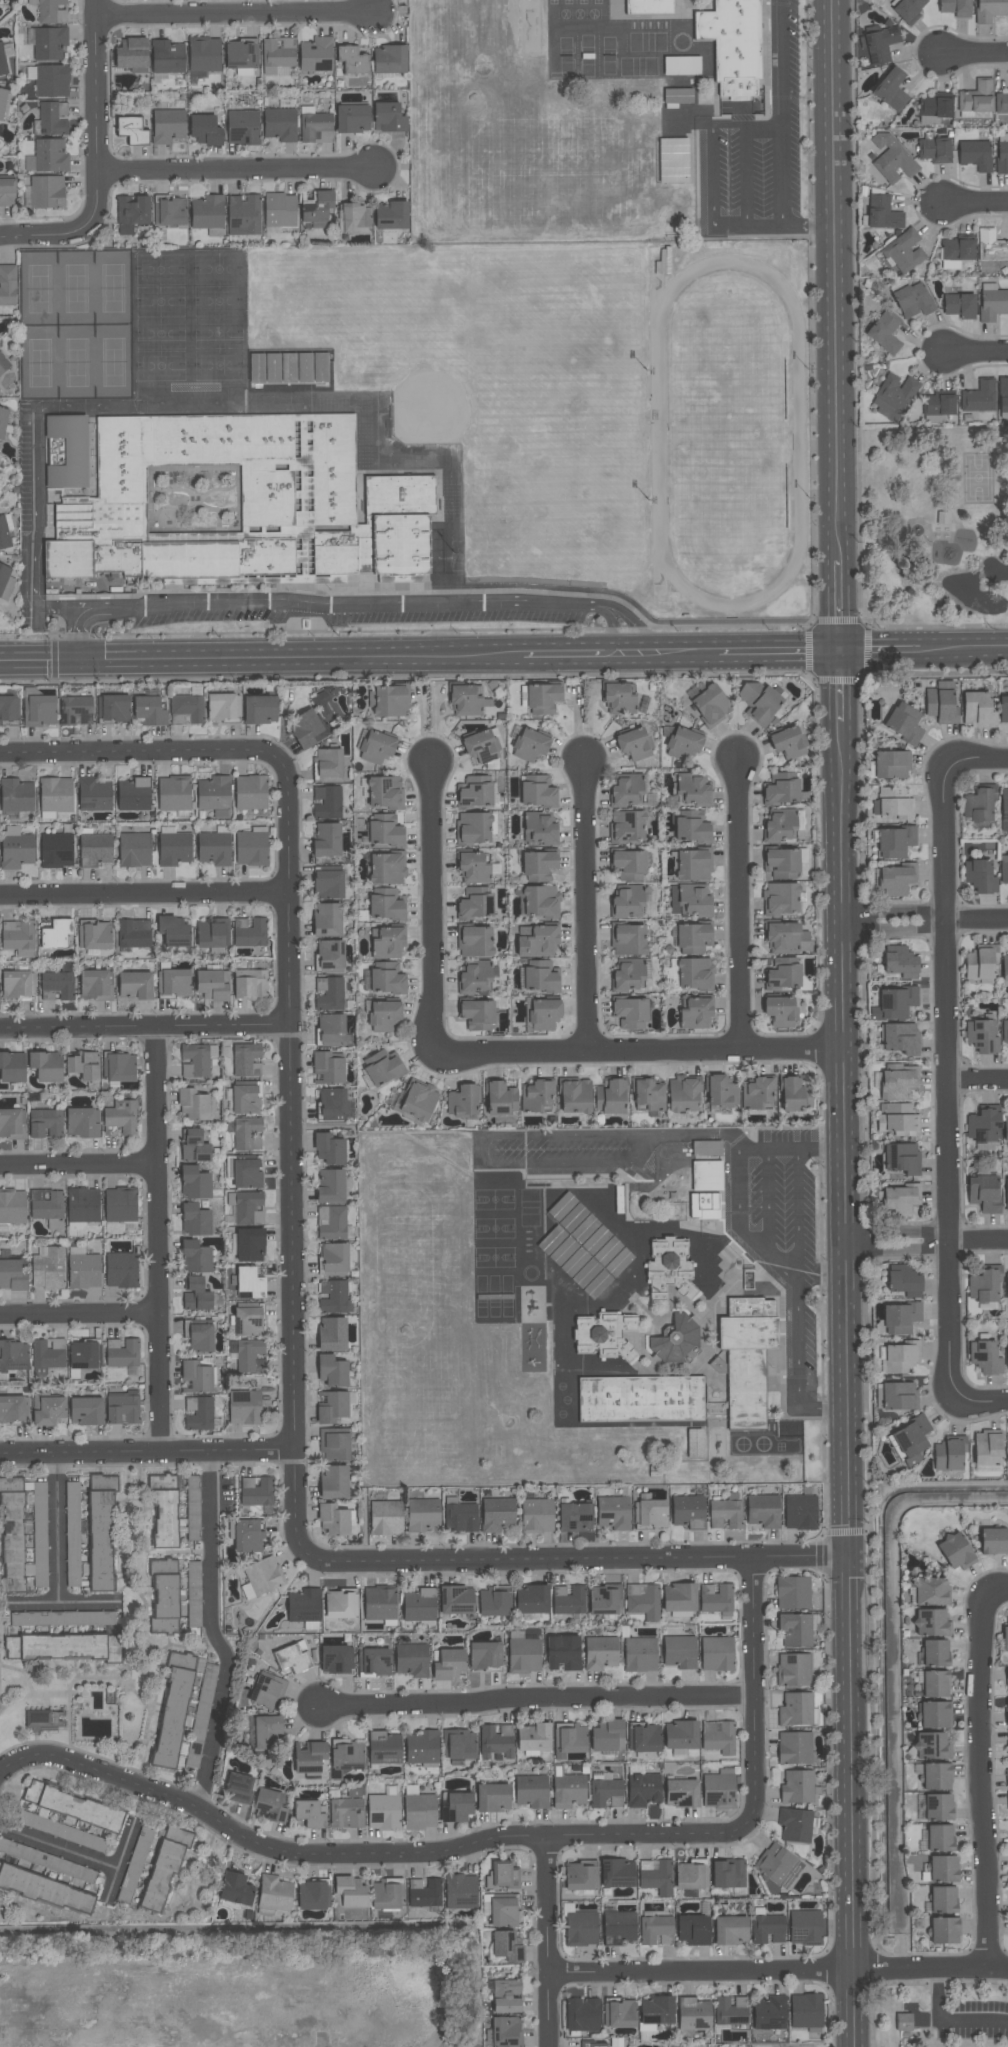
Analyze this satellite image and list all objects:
building: (649, 7)
building: (908, 8)
building: (955, 8)
building: (990, 10)
building: (50, 11)
road: (231, 14)
building: (49, 43)
building: (733, 44)
building: (880, 45)
building: (204, 54)
building: (316, 54)
building: (131, 55)
building: (277, 55)
road: (970, 55)
building: (167, 57)
building: (242, 57)
building: (389, 59)
building: (352, 60)
building: (2, 62)
building: (49, 80)
road: (98, 84)
building: (891, 90)
building: (678, 95)
building: (977, 97)
building: (1001, 103)
building: (934, 108)
building: (389, 117)
building: (352, 118)
building: (51, 119)
building: (280, 124)
road: (748, 124)
building: (168, 126)
building: (315, 126)
building: (243, 127)
building: (132, 130)
building: (204, 130)
road: (780, 138)
building: (934, 150)
building: (1002, 153)
building: (975, 154)
building: (48, 157)
building: (890, 158)
building: (673, 160)
road: (237, 168)
road: (747, 173)
building: (7, 191)
building: (47, 192)
road: (974, 202)
building: (316, 205)
road: (712, 205)
building: (132, 210)
building: (280, 210)
building: (169, 211)
building: (207, 212)
building: (882, 213)
building: (243, 215)
building: (391, 215)
building: (354, 219)
road: (76, 235)
building: (991, 246)
building: (902, 252)
building: (956, 252)
road: (834, 283)
building: (8, 285)
building: (914, 300)
building: (992, 302)
building: (960, 305)
building: (885, 332)
road: (976, 353)
building: (894, 396)
building: (979, 397)
building: (1003, 398)
building: (939, 403)
road: (381, 414)
building: (3, 420)
building: (66, 451)
park: (978, 478)
road: (35, 481)
building: (399, 493)
building: (230, 505)
building: (943, 522)
road: (883, 526)
park: (934, 530)
building: (5, 532)
building: (5, 580)
road: (355, 604)
road: (836, 609)
road: (964, 651)
road: (879, 652)
road: (771, 654)
road: (627, 655)
road: (676, 655)
road: (565, 656)
road: (261, 659)
road: (837, 687)
building: (543, 696)
building: (618, 697)
building: (464, 699)
building: (388, 701)
building: (759, 701)
building: (941, 702)
building: (711, 705)
building: (113, 706)
building: (223, 706)
building: (1003, 706)
building: (76, 708)
building: (260, 708)
building: (978, 708)
building: (9, 709)
building: (39, 709)
building: (186, 709)
building: (149, 710)
building: (904, 723)
building: (308, 728)
building: (634, 742)
building: (683, 742)
building: (787, 742)
building: (530, 744)
building: (376, 746)
building: (480, 746)
road: (132, 753)
road: (975, 762)
building: (329, 763)
building: (892, 764)
building: (781, 788)
building: (626, 789)
building: (692, 789)
building: (383, 791)
building: (474, 791)
building: (537, 791)
building: (214, 792)
building: (250, 792)
building: (55, 793)
building: (134, 793)
building: (173, 793)
building: (94, 794)
building: (15, 795)
building: (327, 802)
building: (894, 802)
building: (1004, 803)
building: (978, 804)
building: (780, 825)
building: (626, 826)
building: (473, 827)
building: (539, 828)
building: (692, 829)
building: (386, 833)
building: (327, 839)
building: (895, 841)
building: (251, 846)
building: (16, 848)
building: (174, 848)
building: (214, 848)
building: (134, 849)
building: (56, 850)
building: (95, 850)
building: (782, 862)
building: (628, 864)
building: (693, 864)
building: (387, 867)
building: (472, 867)
building: (1003, 868)
building: (979, 875)
building: (894, 880)
building: (328, 884)
building: (539, 884)
road: (145, 895)
building: (781, 898)
building: (690, 900)
building: (627, 901)
building: (475, 903)
road: (737, 905)
building: (386, 907)
road: (583, 907)
road: (430, 911)
building: (327, 919)
road: (923, 923)
building: (173, 929)
building: (250, 931)
building: (210, 932)
building: (56, 933)
building: (134, 933)
building: (94, 934)
building: (694, 936)
building: (18, 937)
building: (785, 937)
building: (628, 938)
building: (474, 940)
building: (538, 940)
building: (387, 942)
building: (329, 956)
building: (900, 961)
building: (979, 963)
building: (1005, 967)
building: (695, 973)
building: (783, 974)
building: (628, 976)
building: (476, 977)
building: (540, 979)
building: (173, 981)
building: (384, 981)
building: (16, 983)
building: (95, 983)
building: (135, 983)
building: (250, 983)
building: (212, 984)
building: (57, 986)
building: (329, 993)
building: (895, 1002)
building: (780, 1010)
building: (695, 1011)
building: (544, 1012)
building: (630, 1012)
building: (477, 1013)
building: (384, 1015)
road: (144, 1027)
building: (331, 1028)
building: (1005, 1029)
building: (982, 1035)
building: (899, 1037)
road: (639, 1050)
building: (195, 1060)
building: (246, 1060)
building: (83, 1064)
building: (12, 1065)
building: (46, 1065)
building: (118, 1066)
building: (381, 1067)
building: (327, 1068)
road: (946, 1081)
building: (898, 1083)
road: (977, 1084)
building: (721, 1091)
building: (648, 1093)
building: (683, 1093)
building: (757, 1093)
building: (791, 1094)
building: (536, 1095)
building: (574, 1095)
building: (610, 1095)
building: (500, 1097)
building: (246, 1099)
building: (463, 1100)
building: (418, 1101)
building: (333, 1103)
building: (194, 1104)
building: (122, 1116)
building: (898, 1120)
building: (12, 1122)
building: (81, 1122)
building: (45, 1123)
building: (983, 1125)
building: (1006, 1128)
building: (247, 1134)
road: (695, 1135)
building: (194, 1146)
building: (707, 1147)
building: (329, 1148)
road: (789, 1148)
road: (290, 1151)
building: (901, 1157)
road: (482, 1159)
road: (77, 1167)
building: (247, 1172)
building: (707, 1175)
building: (194, 1182)
building: (330, 1185)
building: (984, 1192)
building: (1006, 1194)
building: (900, 1199)
road: (767, 1202)
building: (120, 1204)
building: (47, 1207)
building: (82, 1207)
building: (12, 1208)
road: (798, 1218)
building: (195, 1219)
building: (332, 1222)
building: (590, 1234)
road: (155, 1240)
building: (250, 1244)
road: (925, 1246)
building: (196, 1257)
building: (333, 1259)
building: (574, 1262)
building: (669, 1268)
building: (83, 1269)
building: (121, 1270)
building: (12, 1275)
building: (251, 1280)
building: (904, 1281)
building: (1006, 1284)
building: (984, 1286)
road: (797, 1288)
building: (196, 1294)
building: (333, 1297)
road: (78, 1313)
building: (900, 1317)
building: (248, 1321)
building: (332, 1333)
building: (604, 1335)
building: (199, 1337)
building: (675, 1338)
building: (122, 1353)
building: (48, 1354)
building: (83, 1354)
building: (1007, 1354)
building: (248, 1355)
building: (13, 1356)
building: (985, 1357)
building: (747, 1358)
building: (899, 1358)
building: (332, 1370)
building: (196, 1377)
road: (843, 1384)
building: (899, 1395)
road: (979, 1398)
building: (640, 1399)
building: (130, 1406)
building: (244, 1406)
building: (332, 1406)
building: (12, 1408)
building: (113, 1408)
building: (48, 1410)
building: (86, 1410)
building: (199, 1413)
building: (911, 1440)
building: (695, 1443)
building: (334, 1446)
building: (987, 1448)
building: (1007, 1450)
road: (147, 1453)
building: (948, 1454)
building: (334, 1482)
building: (256, 1492)
building: (193, 1508)
building: (164, 1509)
building: (763, 1510)
building: (688, 1511)
building: (613, 1512)
building: (726, 1512)
building: (800, 1512)
building: (650, 1513)
building: (497, 1514)
building: (72, 1515)
building: (422, 1515)
building: (536, 1516)
building: (386, 1517)
building: (574, 1517)
building: (460, 1518)
building: (333, 1520)
building: (101, 1531)
building: (11, 1535)
building: (247, 1536)
building: (39, 1537)
building: (994, 1541)
road: (56, 1550)
building: (955, 1552)
road: (576, 1561)
building: (72, 1575)
building: (264, 1575)
road: (996, 1590)
building: (792, 1592)
building: (931, 1592)
building: (194, 1594)
building: (164, 1596)
building: (679, 1597)
building: (456, 1599)
building: (532, 1599)
building: (716, 1599)
building: (568, 1600)
building: (605, 1600)
building: (494, 1601)
building: (643, 1601)
road: (84, 1602)
building: (379, 1602)
building: (341, 1604)
building: (304, 1605)
building: (419, 1605)
building: (62, 1618)
building: (931, 1623)
building: (797, 1629)
road: (213, 1632)
building: (1005, 1640)
building: (62, 1647)
building: (679, 1651)
building: (563, 1652)
building: (716, 1653)
building: (933, 1653)
building: (640, 1654)
building: (483, 1655)
building: (524, 1655)
building: (598, 1655)
building: (292, 1659)
building: (335, 1659)
building: (412, 1660)
building: (374, 1661)
building: (448, 1663)
building: (794, 1669)
building: (1007, 1679)
building: (935, 1684)
road: (752, 1685)
building: (267, 1694)
road: (538, 1695)
building: (796, 1710)
building: (935, 1715)
building: (44, 1718)
building: (172, 1718)
building: (200, 1718)
building: (264, 1734)
building: (681, 1735)
building: (606, 1736)
building: (534, 1737)
building: (644, 1737)
building: (718, 1737)
building: (569, 1740)
building: (496, 1741)
building: (459, 1744)
building: (929, 1746)
building: (384, 1748)
building: (794, 1748)
building: (423, 1750)
building: (309, 1756)
building: (346, 1756)
building: (936, 1776)
building: (1006, 1777)
road: (985, 1780)
building: (797, 1787)
building: (239, 1789)
building: (643, 1790)
building: (531, 1791)
building: (568, 1791)
building: (718, 1791)
building: (605, 1792)
building: (493, 1798)
building: (73, 1806)
building: (269, 1806)
building: (456, 1807)
building: (938, 1807)
building: (419, 1809)
building: (383, 1811)
building: (310, 1813)
building: (346, 1813)
building: (795, 1825)
building: (57, 1829)
building: (940, 1838)
road: (368, 1855)
road: (83, 1856)
building: (47, 1861)
building: (135, 1861)
building: (778, 1865)
building: (163, 1869)
building: (943, 1869)
building: (617, 1873)
building: (728, 1873)
building: (691, 1875)
building: (500, 1876)
building: (580, 1876)
building: (656, 1876)
road: (114, 1883)
building: (236, 1889)
building: (45, 1890)
building: (350, 1891)
building: (274, 1893)
building: (424, 1893)
building: (387, 1894)
building: (312, 1895)
building: (460, 1896)
building: (943, 1899)
building: (499, 1910)
building: (805, 1926)
building: (618, 1927)
building: (581, 1928)
building: (768, 1929)
building: (656, 1930)
building: (693, 1930)
building: (730, 1930)
building: (944, 1930)
road: (549, 1941)
building: (508, 1946)
road: (441, 1961)
road: (779, 1969)
road: (945, 1983)
park: (242, 1984)
building: (506, 1996)
building: (656, 2009)
building: (731, 2011)
building: (619, 2012)
building: (769, 2012)
building: (806, 2012)
road: (443, 2013)
building: (694, 2013)
park: (939, 2013)
building: (582, 2014)
road: (874, 2014)
parking lot: (967, 2016)
road: (948, 2020)
building: (904, 2022)
building: (506, 2031)
building: (592, 2045)

